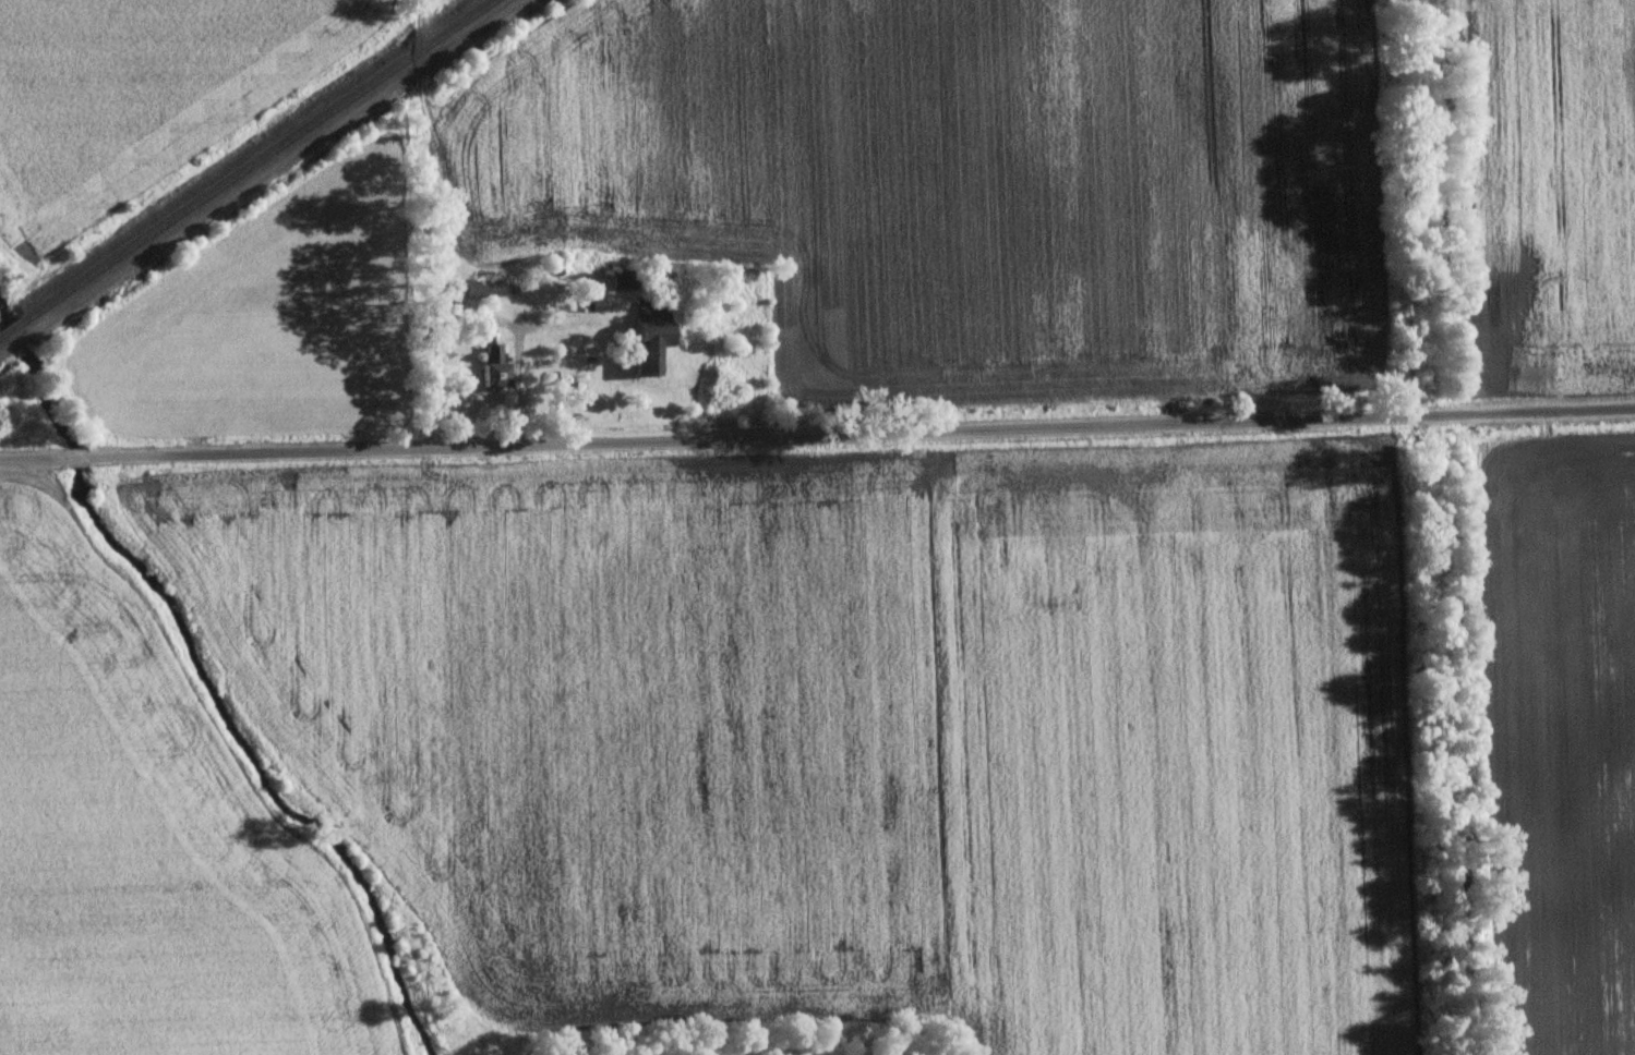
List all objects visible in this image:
railway: (252, 162)
railway: (7, 329)
building: (651, 344)
building: (496, 372)
road: (861, 433)
road: (74, 457)
road: (31, 458)

